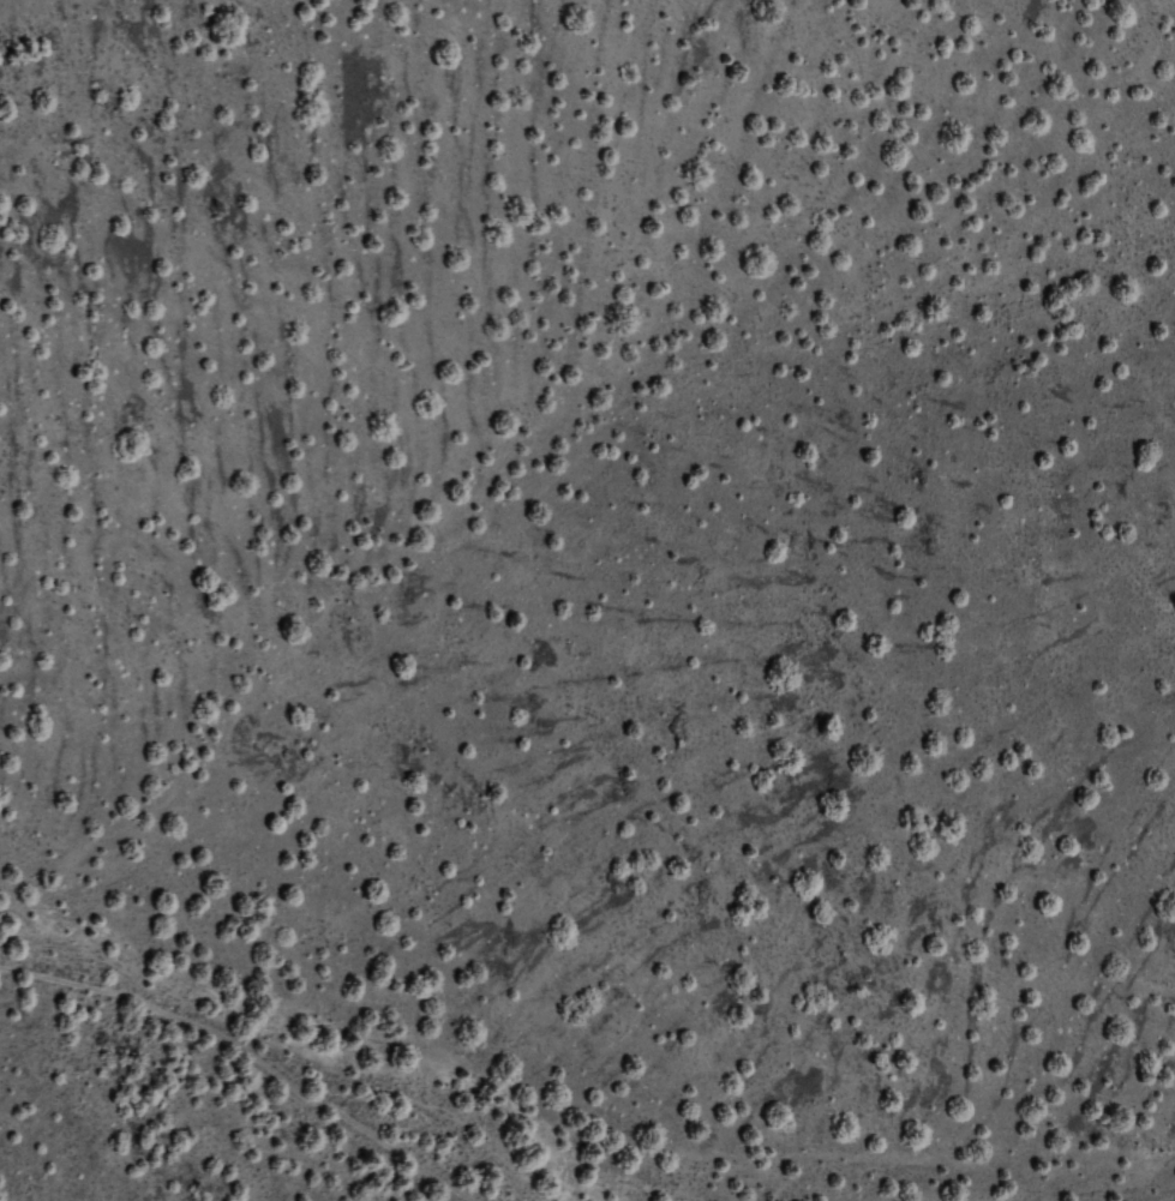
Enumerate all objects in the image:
road: (254, 1055)

